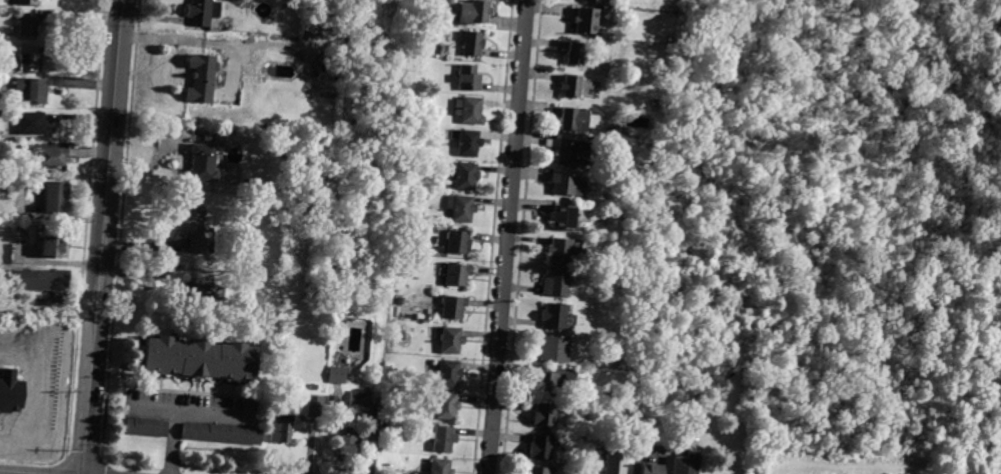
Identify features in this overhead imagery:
building: (593, 0)
building: (26, 2)
building: (203, 11)
building: (474, 12)
building: (587, 20)
building: (27, 25)
building: (472, 43)
building: (442, 50)
building: (576, 54)
building: (25, 58)
building: (324, 62)
building: (201, 78)
building: (468, 78)
building: (572, 86)
building: (31, 89)
building: (653, 103)
building: (468, 110)
building: (578, 120)
building: (30, 123)
building: (274, 141)
building: (468, 143)
building: (572, 151)
building: (52, 156)
building: (202, 163)
building: (465, 176)
building: (568, 184)
building: (54, 197)
building: (460, 208)
building: (563, 216)
park: (837, 222)
building: (195, 228)
road: (102, 236)
road: (506, 237)
building: (457, 242)
building: (54, 247)
building: (560, 250)
building: (417, 261)
building: (456, 274)
building: (39, 280)
building: (556, 283)
building: (200, 294)
building: (399, 301)
building: (453, 307)
road: (48, 309)
building: (554, 316)
building: (338, 322)
building: (451, 341)
building: (553, 349)
building: (193, 359)
building: (448, 373)
building: (336, 375)
building: (544, 383)
building: (360, 400)
building: (331, 404)
building: (314, 405)
road: (152, 406)
building: (446, 406)
road: (182, 408)
building: (543, 415)
building: (384, 423)
building: (144, 427)
building: (281, 427)
building: (217, 434)
building: (443, 439)
building: (347, 445)
building: (540, 447)
building: (594, 462)
building: (615, 463)
building: (687, 463)
building: (440, 466)
building: (653, 468)
building: (537, 470)
building: (589, 471)
road: (16, 472)

